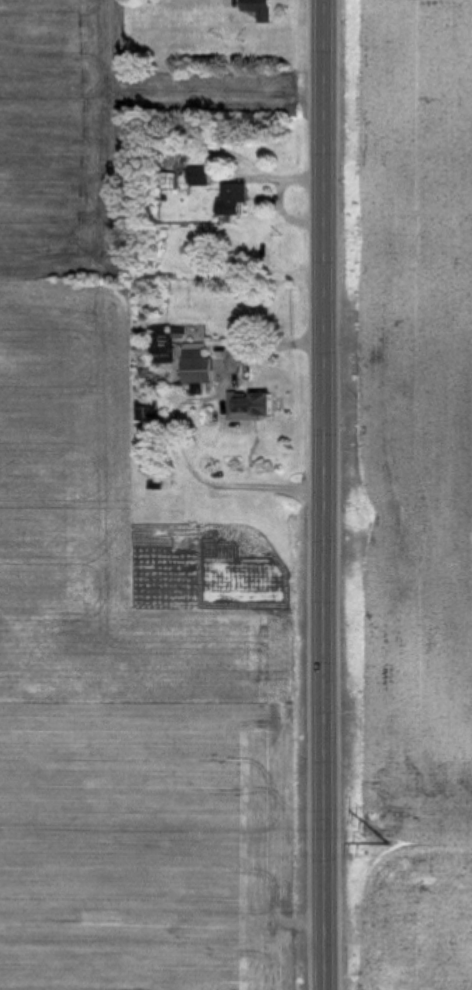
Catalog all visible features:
building: (255, 8)
building: (195, 175)
road: (271, 180)
building: (229, 197)
building: (164, 340)
road: (244, 349)
building: (194, 367)
building: (249, 404)
road: (323, 495)
power tower: (388, 835)

